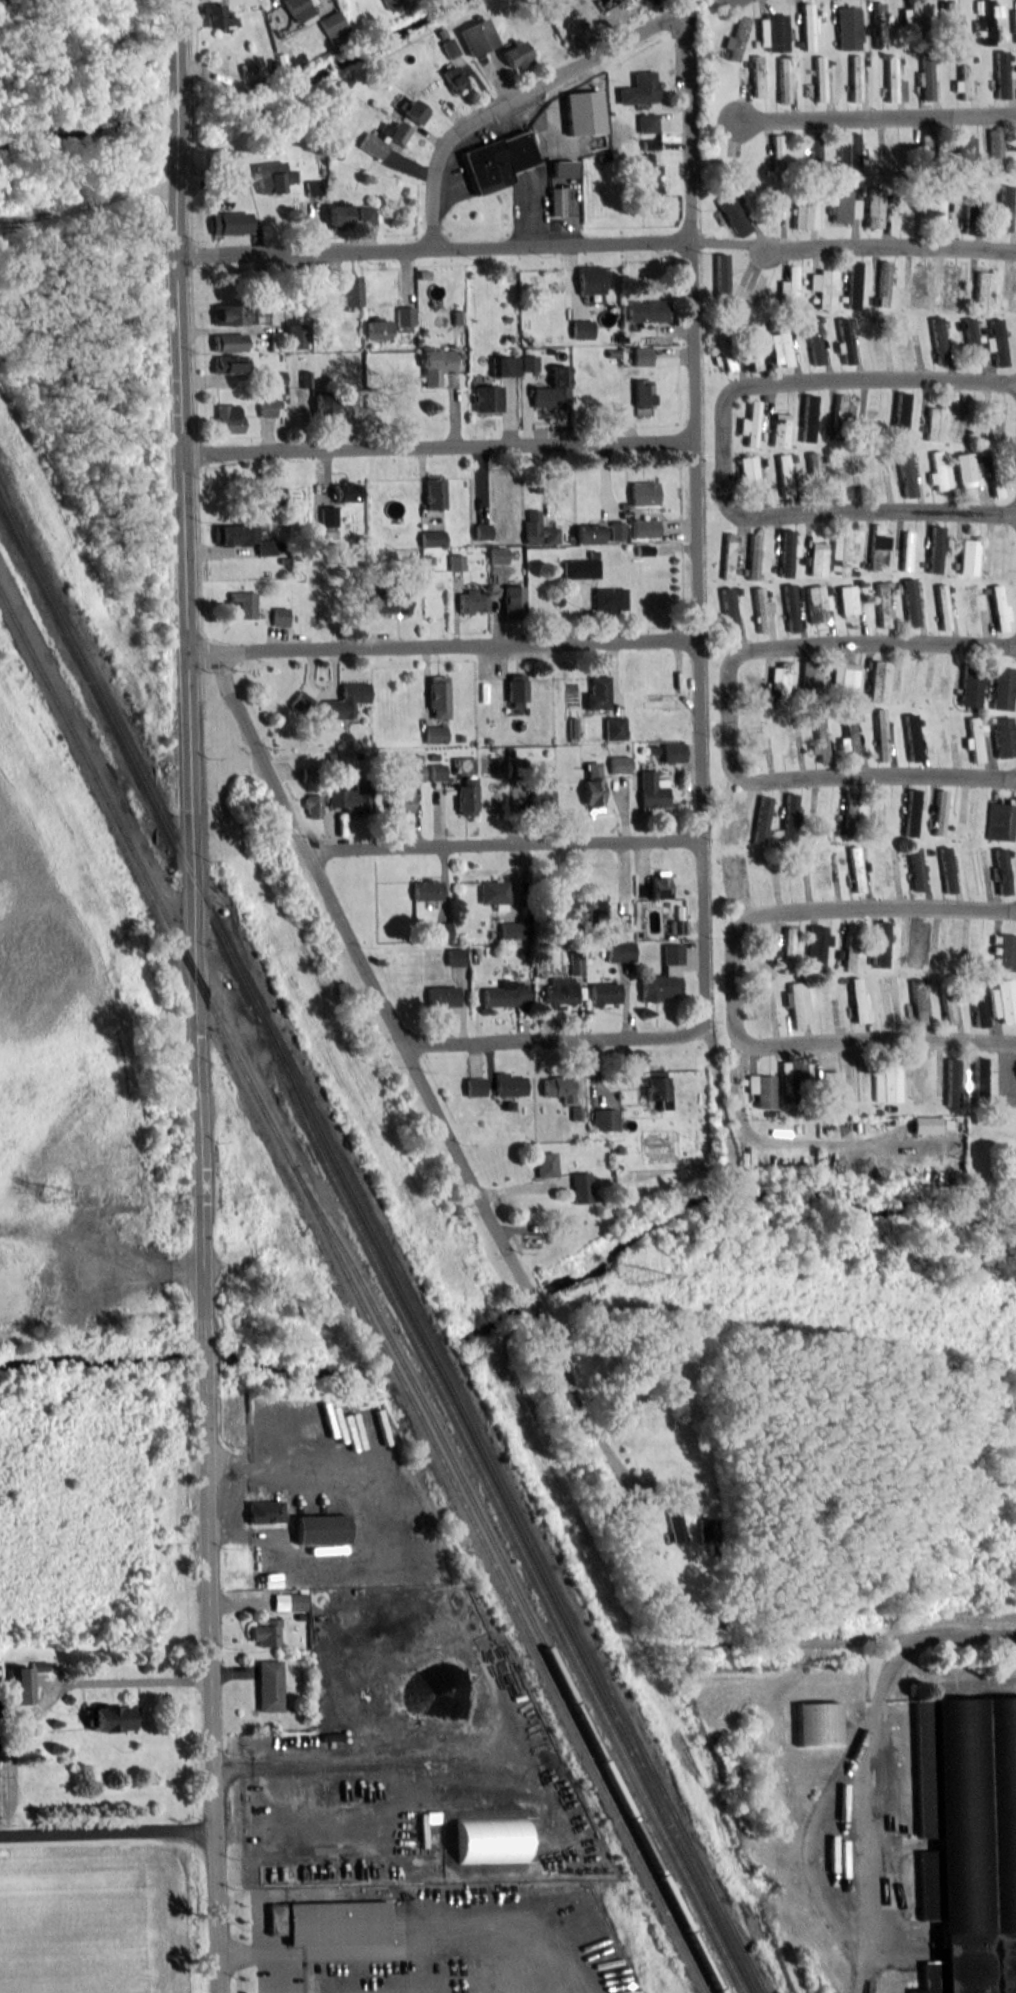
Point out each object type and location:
building: (213, 13)
road: (176, 49)
road: (513, 97)
road: (877, 120)
road: (176, 124)
building: (217, 155)
building: (497, 160)
road: (727, 242)
road: (432, 247)
road: (890, 250)
building: (226, 312)
building: (225, 340)
building: (224, 362)
road: (892, 378)
building: (224, 416)
road: (437, 447)
road: (720, 453)
road: (896, 509)
road: (694, 525)
building: (230, 532)
building: (237, 603)
road: (843, 642)
road: (441, 643)
road: (188, 733)
road: (842, 775)
road: (503, 844)
road: (847, 908)
road: (741, 1036)
road: (547, 1039)
road: (907, 1039)
road: (411, 1057)
crop: (63, 1063)
parking lot: (1006, 1073)
building: (927, 1125)
road: (773, 1141)
building: (1009, 1165)
power tower: (49, 1196)
railway: (375, 1248)
power tower: (636, 1276)
railway: (353, 1294)
road: (202, 1355)
railway: (495, 1505)
building: (262, 1511)
road: (362, 1519)
building: (675, 1525)
building: (318, 1528)
railway: (505, 1576)
building: (295, 1601)
building: (264, 1633)
road: (859, 1641)
building: (21, 1682)
building: (267, 1687)
road: (208, 1693)
building: (109, 1720)
building: (816, 1723)
road: (280, 1800)
road: (864, 1813)
road: (106, 1831)
building: (966, 1837)
building: (326, 1921)
crop: (88, 1925)
road: (346, 1953)
road: (258, 1955)

